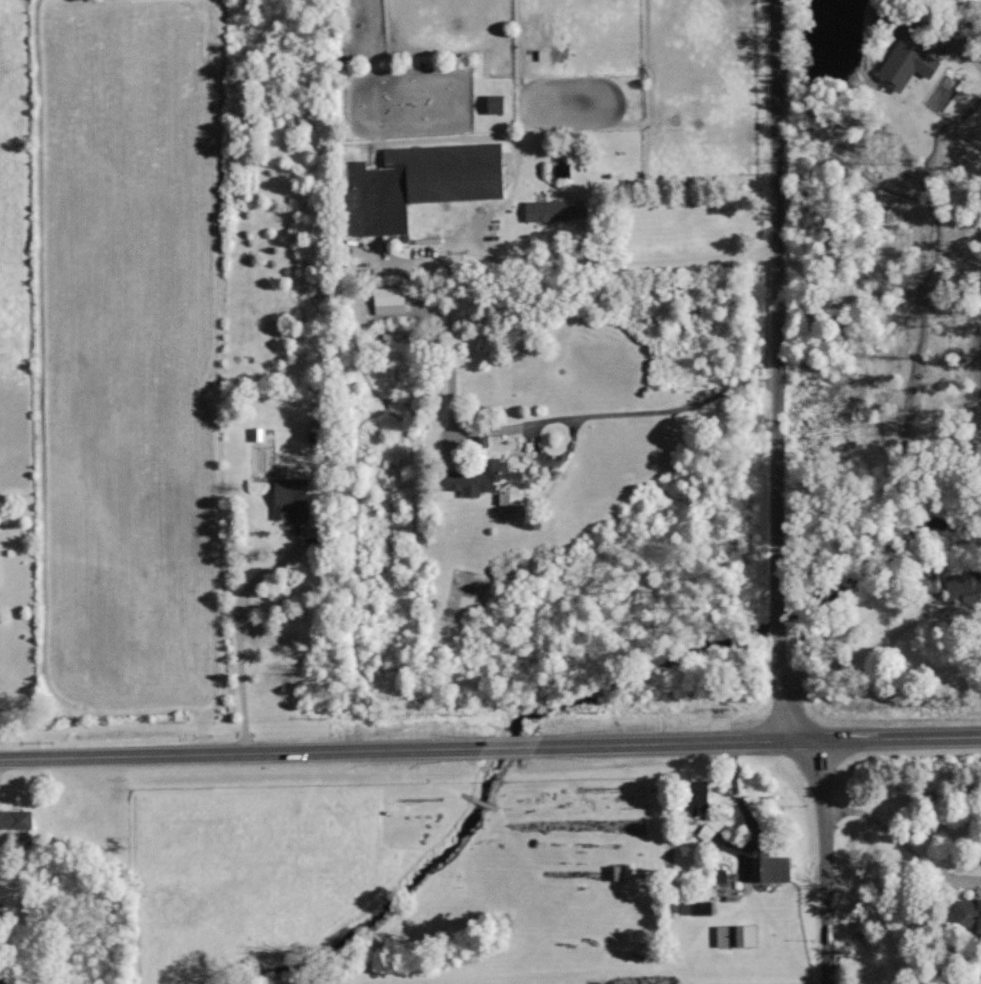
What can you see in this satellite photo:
road: (964, 12)
building: (906, 59)
building: (494, 103)
building: (418, 183)
building: (555, 209)
road: (582, 266)
building: (387, 295)
road: (774, 371)
road: (656, 412)
building: (256, 434)
building: (485, 479)
building: (290, 499)
building: (964, 587)
road: (238, 634)
road: (861, 656)
road: (490, 746)
building: (697, 796)
building: (16, 819)
road: (901, 841)
road: (819, 860)
building: (770, 868)
building: (614, 873)
building: (700, 908)
building: (967, 913)
building: (736, 936)

